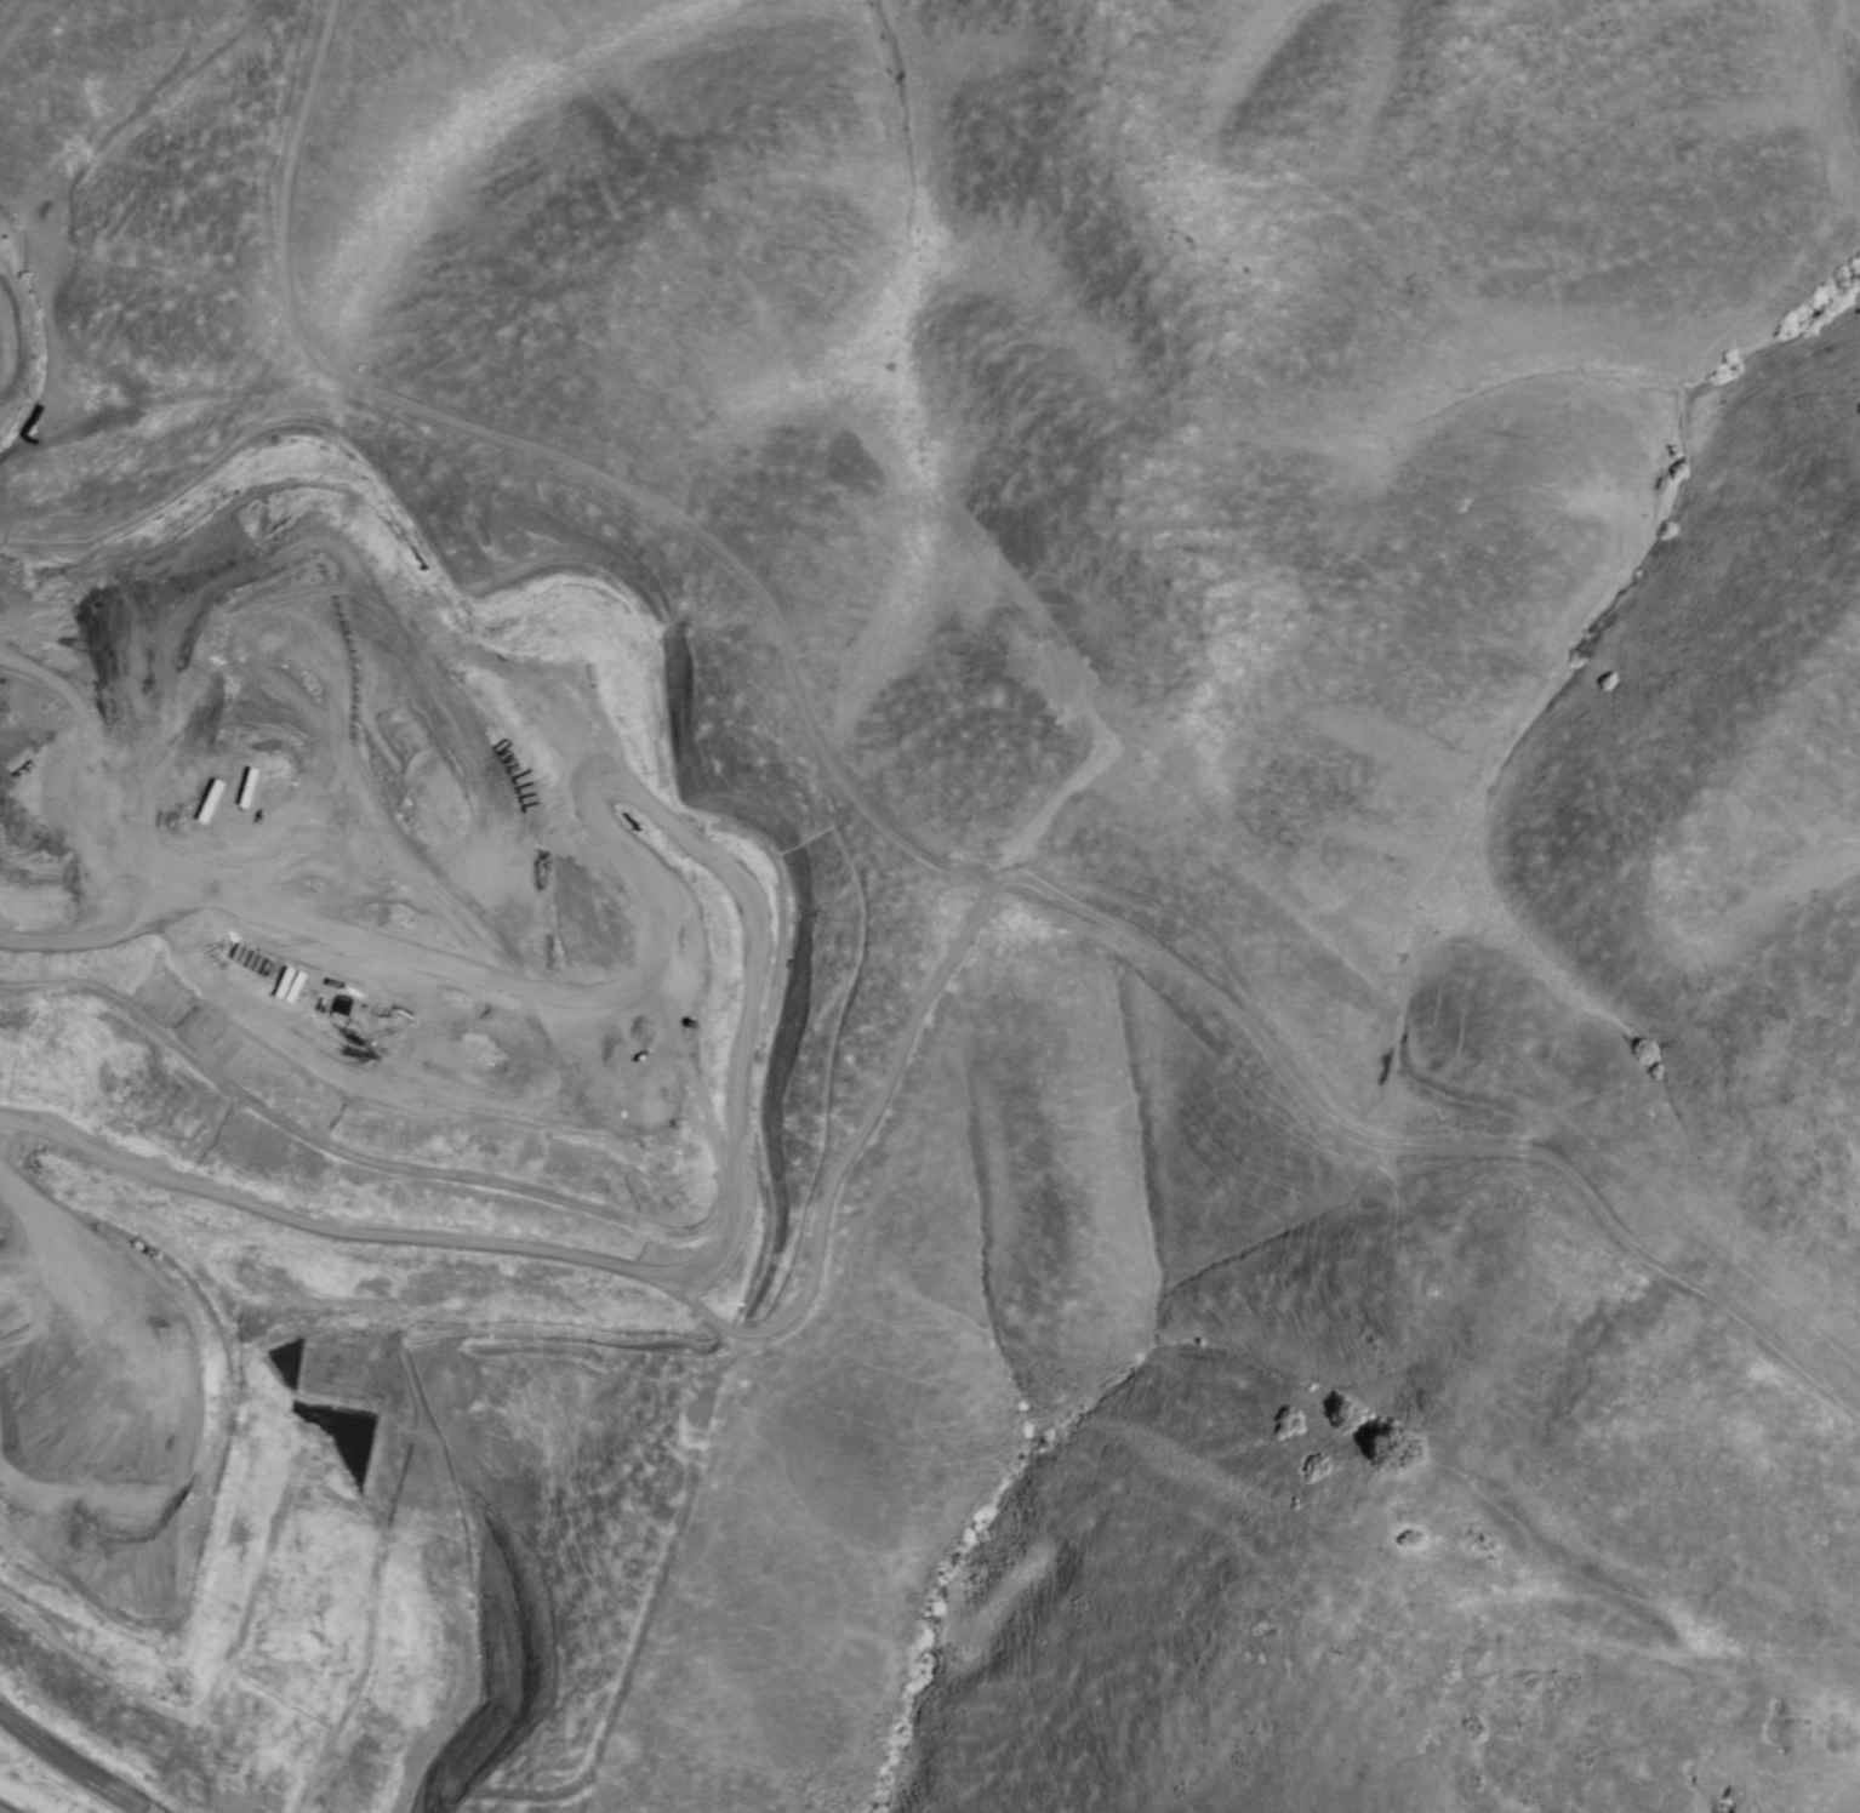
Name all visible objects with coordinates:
landfill: (13, 337)
landfill: (342, 1117)
road: (80, 1756)

